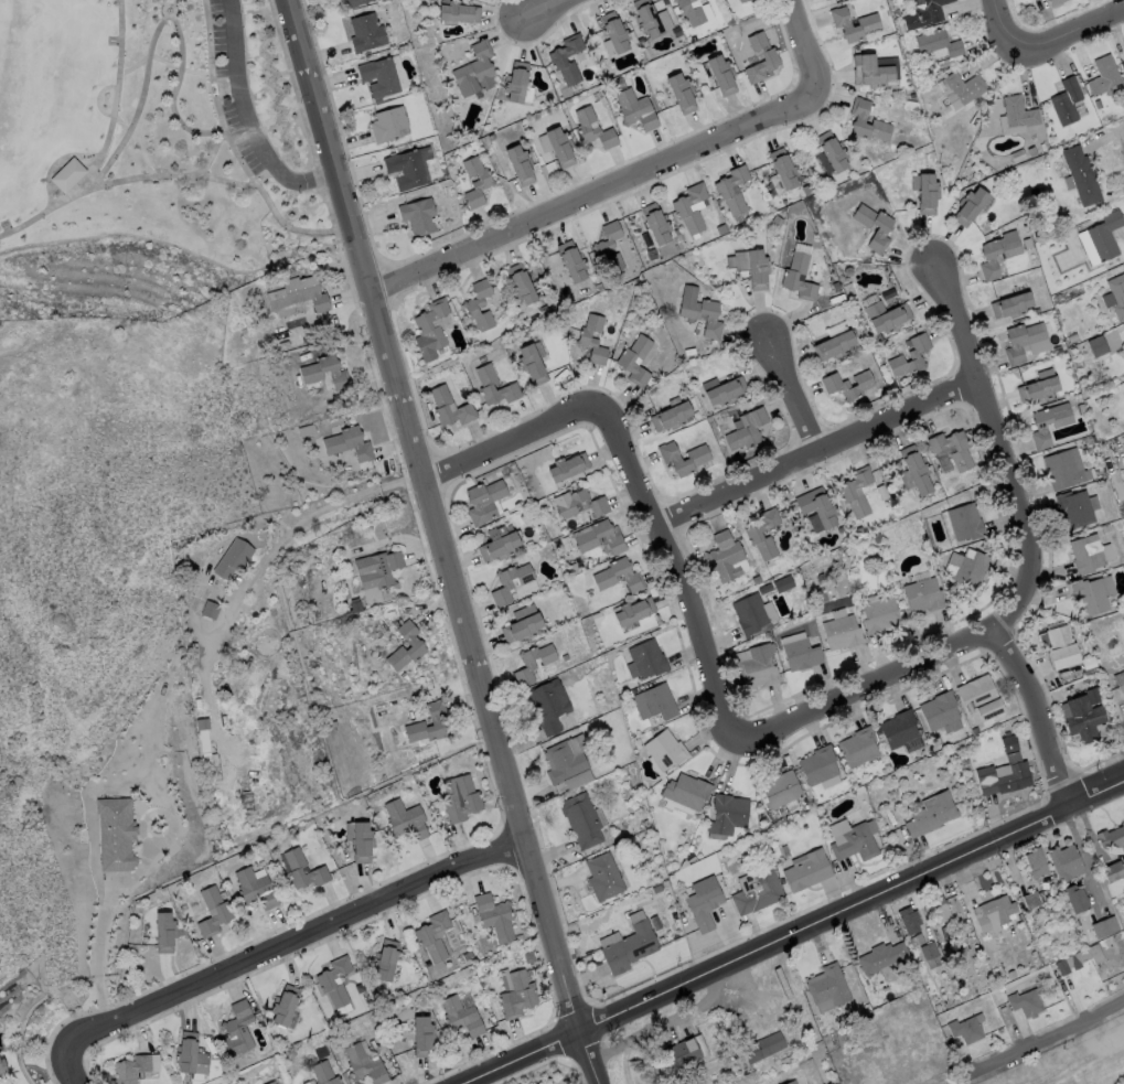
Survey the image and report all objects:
building: (738, 0)
building: (826, 0)
building: (1032, 0)
building: (1036, 0)
building: (1056, 2)
building: (353, 3)
road: (546, 7)
road: (167, 10)
building: (691, 12)
building: (459, 13)
building: (897, 13)
building: (927, 13)
road: (171, 19)
building: (646, 19)
building: (868, 23)
road: (1002, 25)
building: (900, 26)
road: (1071, 31)
building: (366, 33)
building: (615, 33)
building: (693, 40)
road: (807, 44)
building: (938, 44)
building: (760, 58)
building: (557, 60)
building: (1123, 66)
building: (475, 72)
building: (870, 72)
building: (721, 75)
building: (1104, 76)
building: (379, 78)
building: (516, 82)
building: (919, 82)
parking lot: (228, 87)
building: (965, 88)
building: (682, 94)
building: (598, 96)
building: (1067, 101)
building: (661, 105)
building: (1098, 105)
building: (635, 110)
building: (1018, 112)
building: (978, 115)
road: (246, 119)
building: (859, 120)
building: (974, 120)
building: (388, 125)
building: (593, 130)
building: (491, 138)
road: (103, 144)
road: (228, 144)
building: (560, 147)
building: (1017, 151)
building: (833, 152)
building: (520, 165)
park: (128, 167)
building: (783, 169)
building: (405, 170)
building: (67, 174)
road: (172, 175)
building: (1082, 176)
building: (475, 182)
building: (732, 190)
road: (596, 193)
building: (928, 194)
building: (970, 207)
building: (681, 208)
building: (708, 210)
building: (418, 216)
building: (777, 222)
building: (656, 224)
building: (760, 226)
building: (882, 230)
building: (1105, 236)
building: (1027, 244)
building: (609, 248)
building: (735, 260)
building: (572, 261)
building: (991, 261)
building: (758, 270)
building: (848, 271)
building: (790, 278)
building: (521, 285)
building: (299, 294)
building: (1115, 297)
building: (480, 307)
building: (1011, 307)
building: (1037, 311)
building: (700, 312)
building: (887, 318)
building: (1123, 328)
building: (430, 331)
building: (1072, 339)
building: (592, 340)
building: (1021, 342)
building: (835, 346)
building: (1098, 346)
building: (710, 348)
building: (911, 356)
building: (482, 359)
building: (624, 362)
building: (532, 366)
building: (311, 376)
building: (488, 384)
building: (847, 386)
building: (1038, 390)
building: (1114, 390)
building: (726, 391)
road: (794, 395)
building: (450, 408)
building: (1081, 409)
building: (724, 417)
building: (671, 418)
building: (1040, 428)
building: (747, 430)
road: (511, 441)
building: (1083, 441)
building: (334, 448)
road: (1004, 450)
road: (817, 451)
building: (960, 453)
building: (696, 461)
building: (896, 466)
building: (513, 468)
building: (569, 468)
building: (916, 470)
building: (1064, 470)
building: (856, 492)
building: (484, 502)
building: (595, 504)
building: (817, 507)
building: (1074, 509)
building: (1123, 509)
road: (308, 515)
building: (965, 523)
building: (1105, 528)
building: (858, 532)
building: (753, 534)
building: (878, 535)
building: (586, 538)
road: (441, 541)
building: (499, 545)
building: (1086, 555)
building: (725, 557)
building: (234, 559)
road: (677, 567)
building: (879, 567)
building: (968, 569)
building: (378, 570)
building: (607, 576)
building: (756, 580)
building: (510, 583)
building: (783, 584)
building: (197, 587)
building: (564, 589)
building: (764, 589)
building: (1092, 595)
building: (923, 597)
building: (354, 608)
building: (211, 611)
building: (634, 612)
building: (750, 614)
building: (596, 616)
building: (880, 616)
building: (522, 629)
building: (842, 633)
building: (768, 635)
building: (1113, 645)
building: (416, 646)
building: (1062, 647)
building: (801, 655)
building: (194, 657)
building: (565, 658)
building: (647, 659)
building: (533, 664)
building: (758, 668)
building: (1089, 673)
building: (406, 679)
building: (1120, 683)
road: (865, 687)
building: (981, 699)
building: (655, 702)
building: (549, 707)
building: (939, 711)
building: (1083, 716)
road: (1038, 718)
building: (436, 722)
building: (332, 725)
building: (899, 730)
building: (974, 731)
building: (635, 743)
building: (1009, 744)
building: (205, 748)
building: (859, 748)
building: (666, 751)
building: (119, 762)
building: (564, 763)
building: (818, 766)
building: (1004, 776)
building: (780, 790)
building: (686, 792)
building: (460, 799)
building: (728, 815)
building: (932, 815)
building: (406, 820)
building: (582, 820)
building: (116, 835)
building: (1112, 838)
building: (854, 840)
building: (361, 841)
building: (691, 859)
building: (1066, 862)
building: (1037, 863)
building: (297, 868)
building: (807, 872)
building: (1113, 872)
building: (603, 878)
building: (671, 880)
building: (665, 884)
building: (674, 884)
building: (657, 889)
building: (255, 890)
building: (757, 891)
building: (223, 895)
building: (1077, 900)
building: (1034, 901)
building: (704, 908)
building: (185, 909)
building: (939, 911)
building: (1047, 911)
building: (214, 912)
building: (994, 915)
building: (495, 917)
building: (909, 921)
building: (677, 923)
building: (1104, 929)
building: (165, 933)
road: (794, 934)
building: (424, 936)
road: (291, 940)
building: (520, 940)
building: (607, 940)
building: (917, 940)
building: (630, 948)
building: (929, 953)
building: (946, 953)
road: (97, 955)
building: (1077, 958)
building: (884, 959)
building: (385, 960)
building: (532, 962)
building: (1010, 975)
building: (324, 981)
building: (827, 989)
building: (517, 996)
building: (1026, 1003)
building: (285, 1006)
building: (867, 1008)
building: (938, 1008)
building: (462, 1018)
building: (238, 1029)
building: (966, 1030)
road: (1051, 1031)
building: (424, 1037)
building: (834, 1042)
building: (763, 1048)
building: (813, 1049)
building: (321, 1053)
building: (190, 1055)
building: (681, 1058)
building: (364, 1065)
road: (71, 1066)
building: (2, 1067)
building: (131, 1070)
building: (324, 1074)
building: (792, 1082)
building: (272, 1083)

